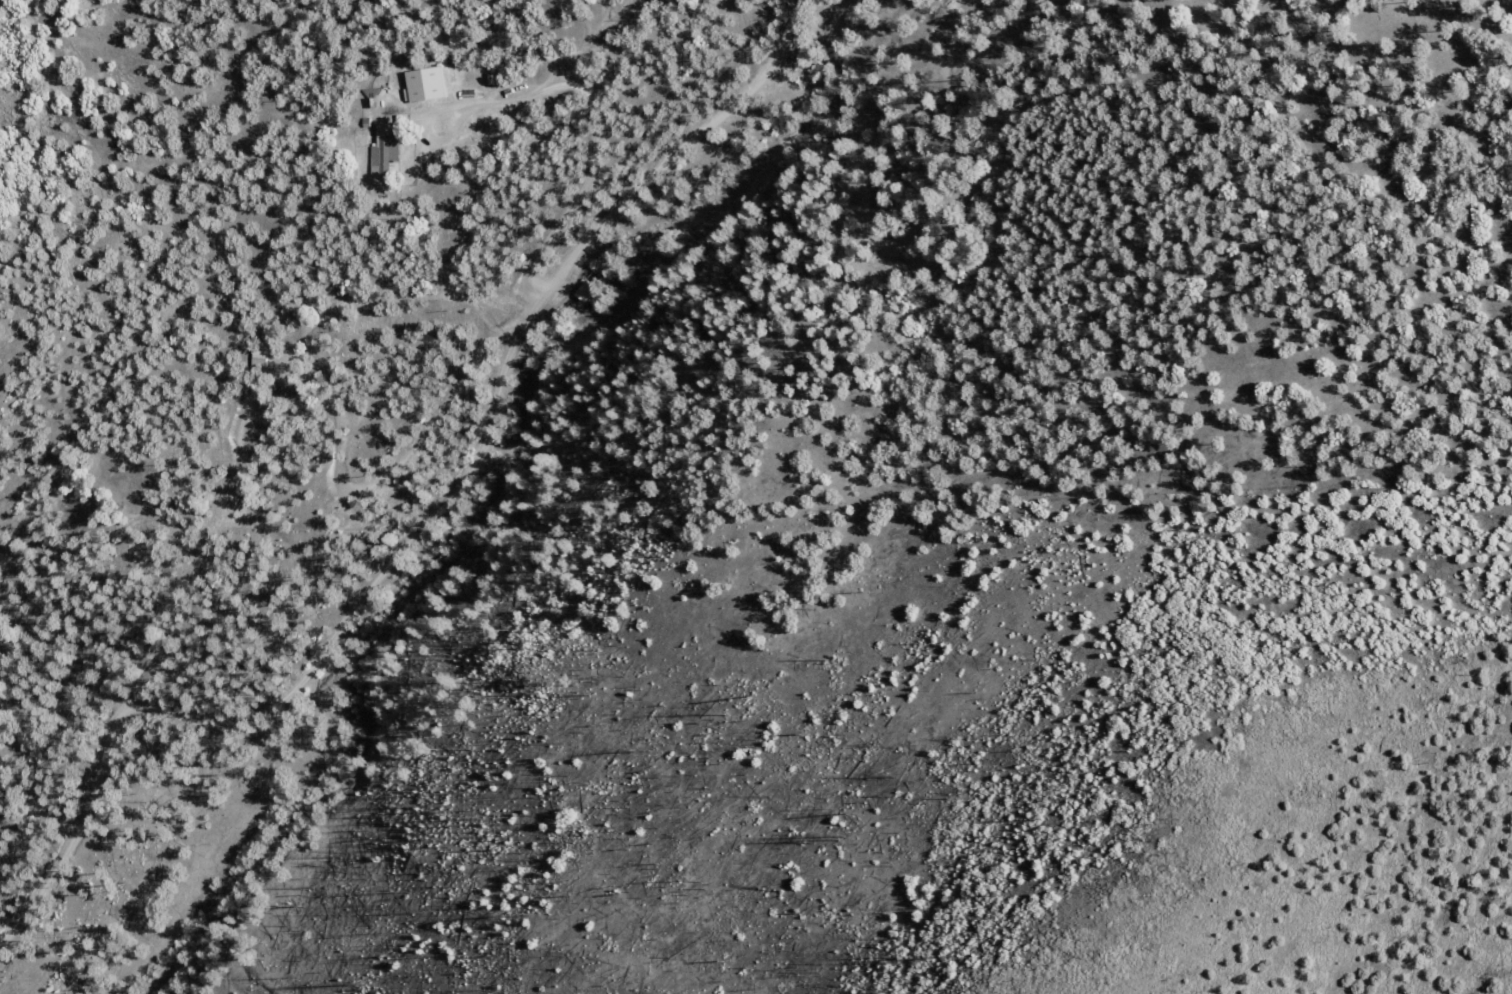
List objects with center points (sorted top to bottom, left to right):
road: (1446, 14)
building: (425, 85)
road: (564, 104)
building: (384, 152)
road: (424, 523)

